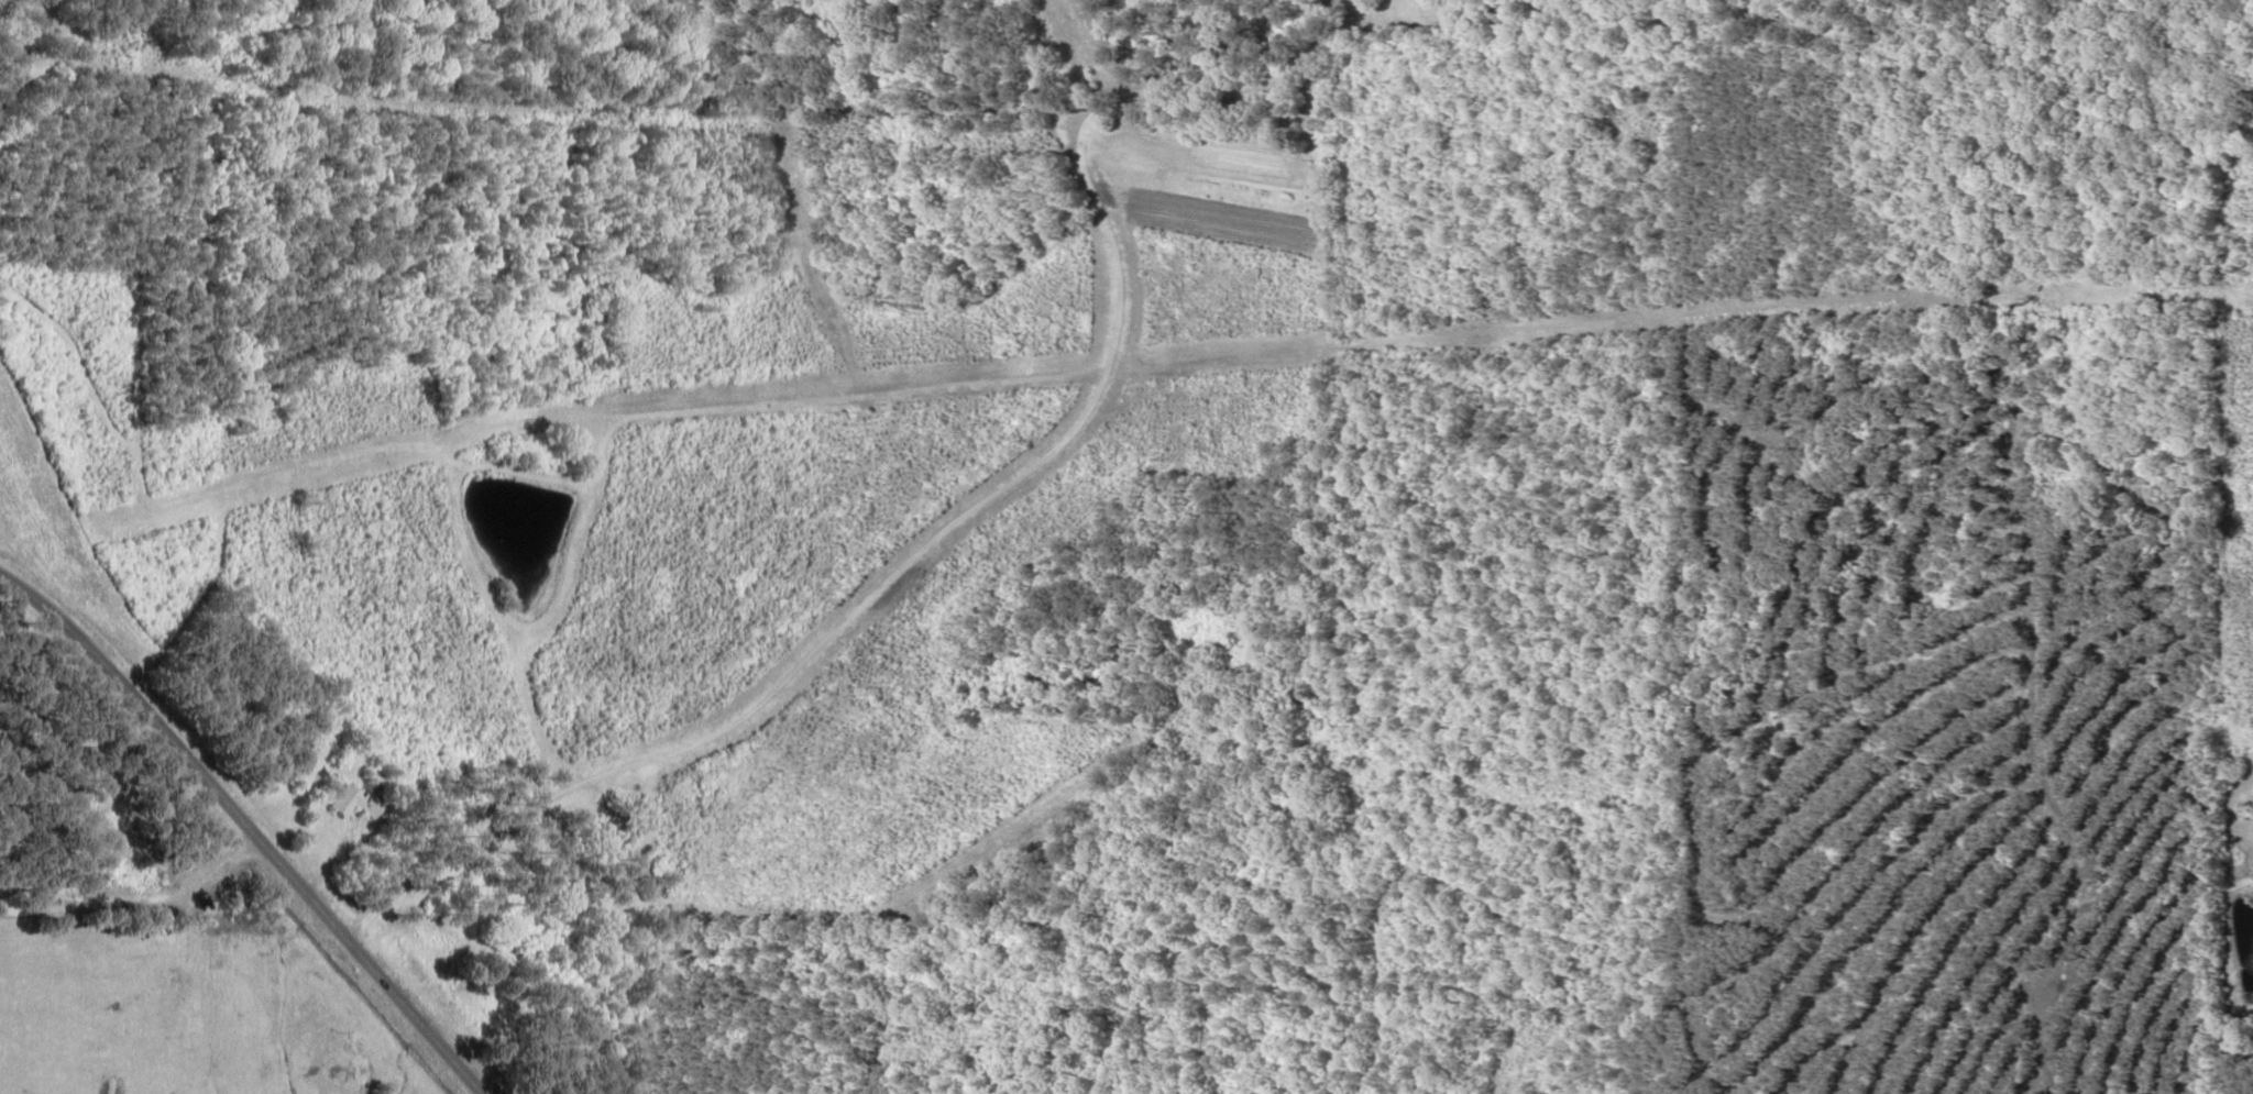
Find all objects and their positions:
road: (37, 64)
road: (941, 674)
building: (351, 803)
road: (246, 848)

